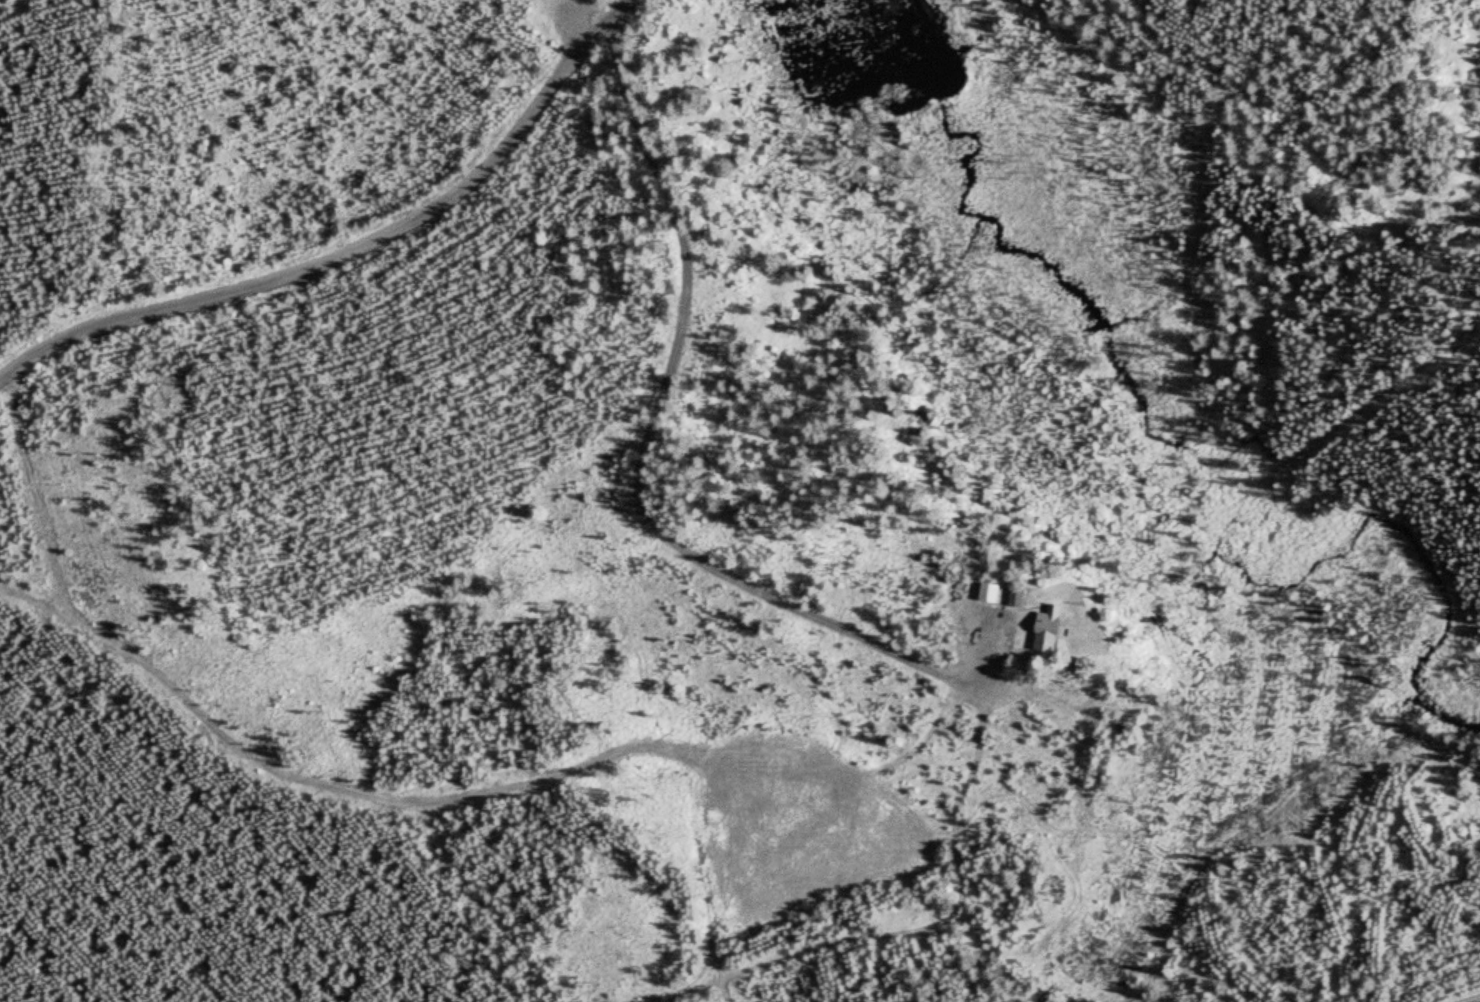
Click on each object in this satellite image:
road: (342, 232)
road: (680, 289)
building: (966, 563)
building: (1018, 597)
building: (1052, 628)
road: (443, 797)
road: (896, 932)
road: (1458, 996)

